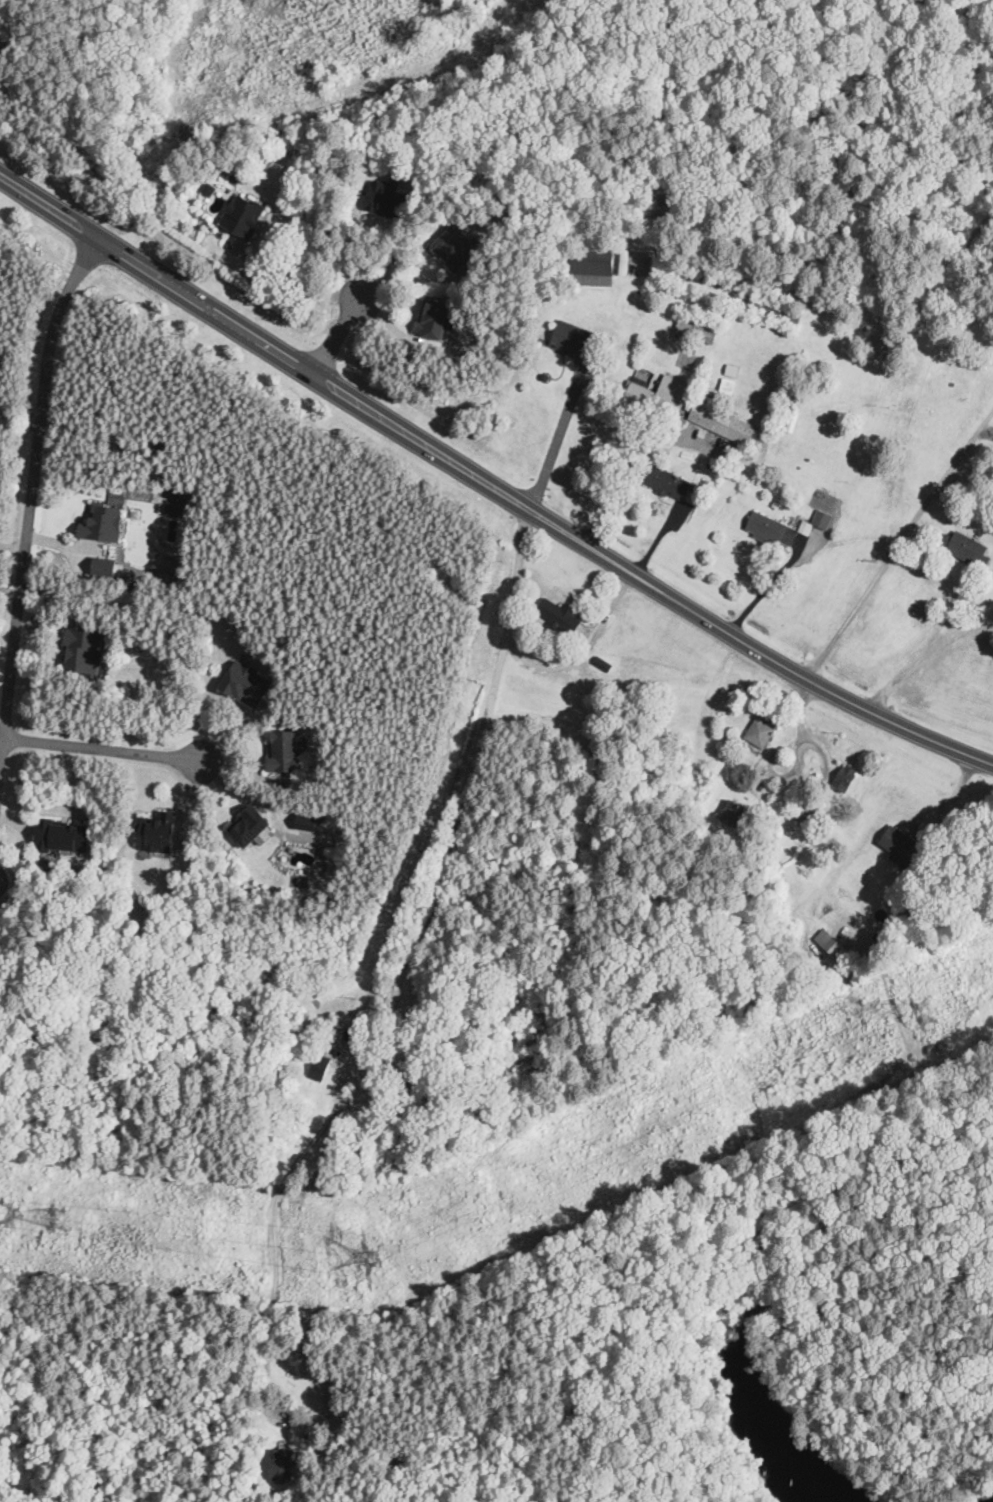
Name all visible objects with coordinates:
road: (650, 41)
building: (209, 188)
building: (388, 199)
building: (244, 215)
road: (376, 216)
road: (228, 230)
road: (257, 235)
road: (352, 245)
building: (456, 246)
building: (595, 263)
road: (446, 267)
road: (416, 281)
road: (289, 282)
building: (737, 292)
building: (435, 318)
road: (413, 320)
road: (390, 324)
building: (698, 325)
road: (337, 335)
building: (577, 339)
road: (575, 358)
road: (564, 367)
building: (546, 376)
road: (592, 386)
building: (655, 396)
road: (20, 416)
building: (723, 421)
road: (559, 433)
parking lot: (704, 439)
road: (633, 456)
building: (667, 481)
road: (488, 483)
road: (32, 499)
road: (669, 502)
building: (176, 507)
building: (136, 512)
building: (823, 518)
building: (104, 523)
road: (76, 526)
building: (772, 529)
road: (924, 531)
road: (660, 537)
road: (899, 543)
road: (60, 545)
road: (13, 546)
building: (968, 548)
road: (84, 558)
building: (105, 565)
road: (771, 583)
road: (10, 590)
building: (562, 614)
road: (49, 622)
road: (62, 640)
building: (86, 650)
road: (581, 655)
road: (926, 657)
building: (604, 663)
building: (246, 683)
building: (762, 731)
building: (286, 746)
road: (104, 749)
road: (1, 756)
road: (826, 756)
road: (772, 760)
building: (847, 777)
building: (808, 813)
building: (736, 814)
building: (307, 821)
building: (250, 826)
building: (160, 832)
building: (62, 835)
building: (906, 849)
road: (888, 902)
building: (835, 946)
road: (407, 983)
building: (216, 1013)
power tower: (932, 1013)
building: (321, 1066)
building: (422, 1077)
power tower: (62, 1216)
road: (767, 1247)
power tower: (382, 1258)
building: (314, 1428)
building: (282, 1462)

